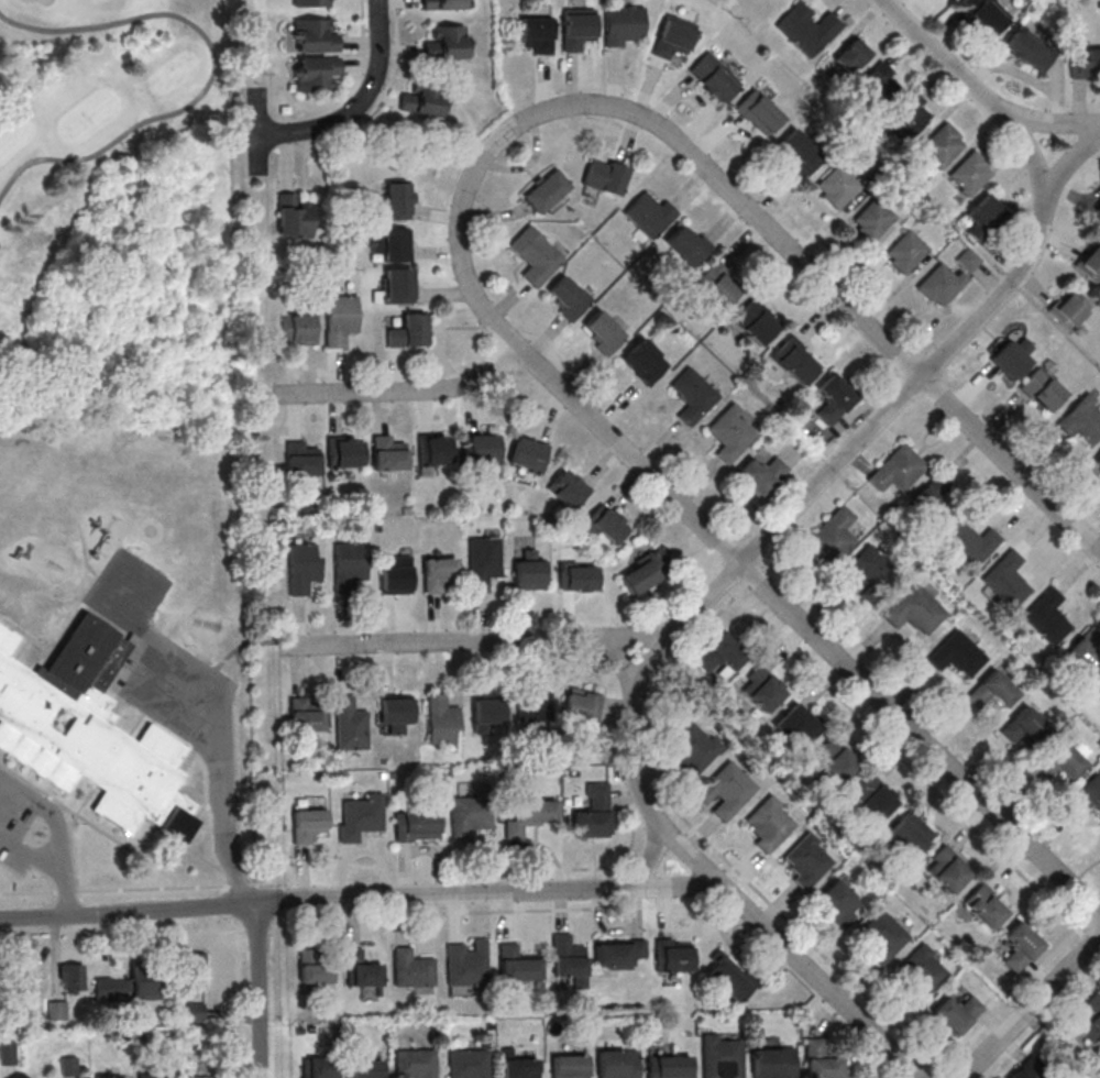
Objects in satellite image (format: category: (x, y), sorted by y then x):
building: (309, 2)
building: (442, 4)
building: (985, 14)
building: (625, 24)
building: (577, 28)
building: (807, 28)
road: (362, 32)
building: (536, 34)
building: (313, 36)
building: (673, 37)
building: (446, 42)
building: (1028, 50)
building: (850, 55)
building: (1085, 62)
road: (372, 65)
road: (395, 71)
building: (316, 73)
building: (714, 77)
road: (213, 78)
building: (879, 82)
road: (979, 89)
building: (424, 98)
road: (358, 108)
building: (759, 112)
building: (908, 113)
road: (1052, 121)
building: (942, 145)
building: (800, 152)
building: (969, 173)
building: (605, 176)
building: (837, 185)
building: (544, 190)
road: (776, 196)
building: (398, 199)
park: (118, 211)
building: (1096, 211)
building: (649, 215)
building: (983, 216)
building: (293, 217)
building: (871, 218)
building: (393, 245)
building: (905, 251)
building: (533, 255)
road: (839, 257)
building: (1090, 264)
building: (718, 284)
building: (939, 284)
building: (397, 286)
building: (568, 297)
building: (1069, 308)
road: (860, 315)
building: (339, 318)
road: (936, 319)
building: (756, 321)
building: (299, 329)
building: (409, 331)
building: (603, 332)
building: (1011, 358)
building: (796, 360)
building: (643, 361)
building: (1043, 389)
road: (403, 392)
building: (692, 395)
building: (834, 398)
building: (1082, 419)
building: (729, 432)
building: (481, 447)
building: (435, 449)
building: (345, 452)
building: (388, 453)
building: (528, 454)
building: (301, 459)
building: (1097, 463)
building: (898, 470)
building: (761, 474)
building: (568, 488)
building: (931, 505)
road: (682, 506)
building: (606, 525)
road: (767, 535)
building: (832, 536)
building: (969, 543)
building: (483, 561)
building: (346, 566)
building: (301, 568)
building: (529, 571)
building: (645, 571)
building: (438, 573)
building: (395, 574)
building: (869, 574)
building: (579, 576)
building: (1005, 580)
building: (913, 610)
building: (1046, 616)
building: (719, 653)
building: (956, 653)
building: (1085, 656)
building: (760, 687)
building: (1099, 687)
building: (990, 691)
building: (581, 704)
building: (532, 708)
building: (488, 711)
building: (395, 712)
building: (306, 714)
building: (442, 721)
building: (350, 725)
building: (794, 726)
building: (1024, 726)
building: (89, 733)
road: (878, 736)
building: (691, 749)
building: (1058, 759)
building: (834, 763)
road: (221, 782)
building: (725, 789)
building: (1087, 793)
building: (873, 798)
road: (46, 810)
building: (592, 812)
building: (468, 813)
building: (360, 816)
building: (527, 817)
building: (768, 823)
building: (308, 825)
building: (416, 825)
building: (910, 832)
road: (649, 858)
road: (48, 860)
building: (806, 860)
building: (945, 869)
road: (716, 879)
road: (152, 888)
road: (28, 891)
road: (66, 891)
road: (359, 894)
building: (836, 902)
building: (983, 905)
building: (882, 936)
building: (1019, 946)
building: (617, 953)
building: (671, 955)
building: (565, 956)
building: (465, 964)
building: (516, 964)
building: (311, 967)
building: (410, 968)
building: (359, 969)
building: (195, 970)
building: (921, 971)
building: (729, 977)
building: (71, 978)
building: (144, 983)
road: (260, 988)
building: (109, 990)
road: (1015, 991)
road: (1032, 1007)
building: (56, 1010)
building: (955, 1012)
building: (1090, 1015)
road: (1044, 1020)
building: (7, 1053)
building: (722, 1058)
building: (821, 1059)
building: (773, 1063)
building: (414, 1064)
building: (468, 1064)
building: (616, 1064)
building: (69, 1066)
building: (568, 1066)
building: (668, 1066)
building: (319, 1067)
building: (520, 1068)
building: (1027, 1068)
building: (366, 1069)
building: (107, 1076)
building: (152, 1076)
building: (199, 1077)

